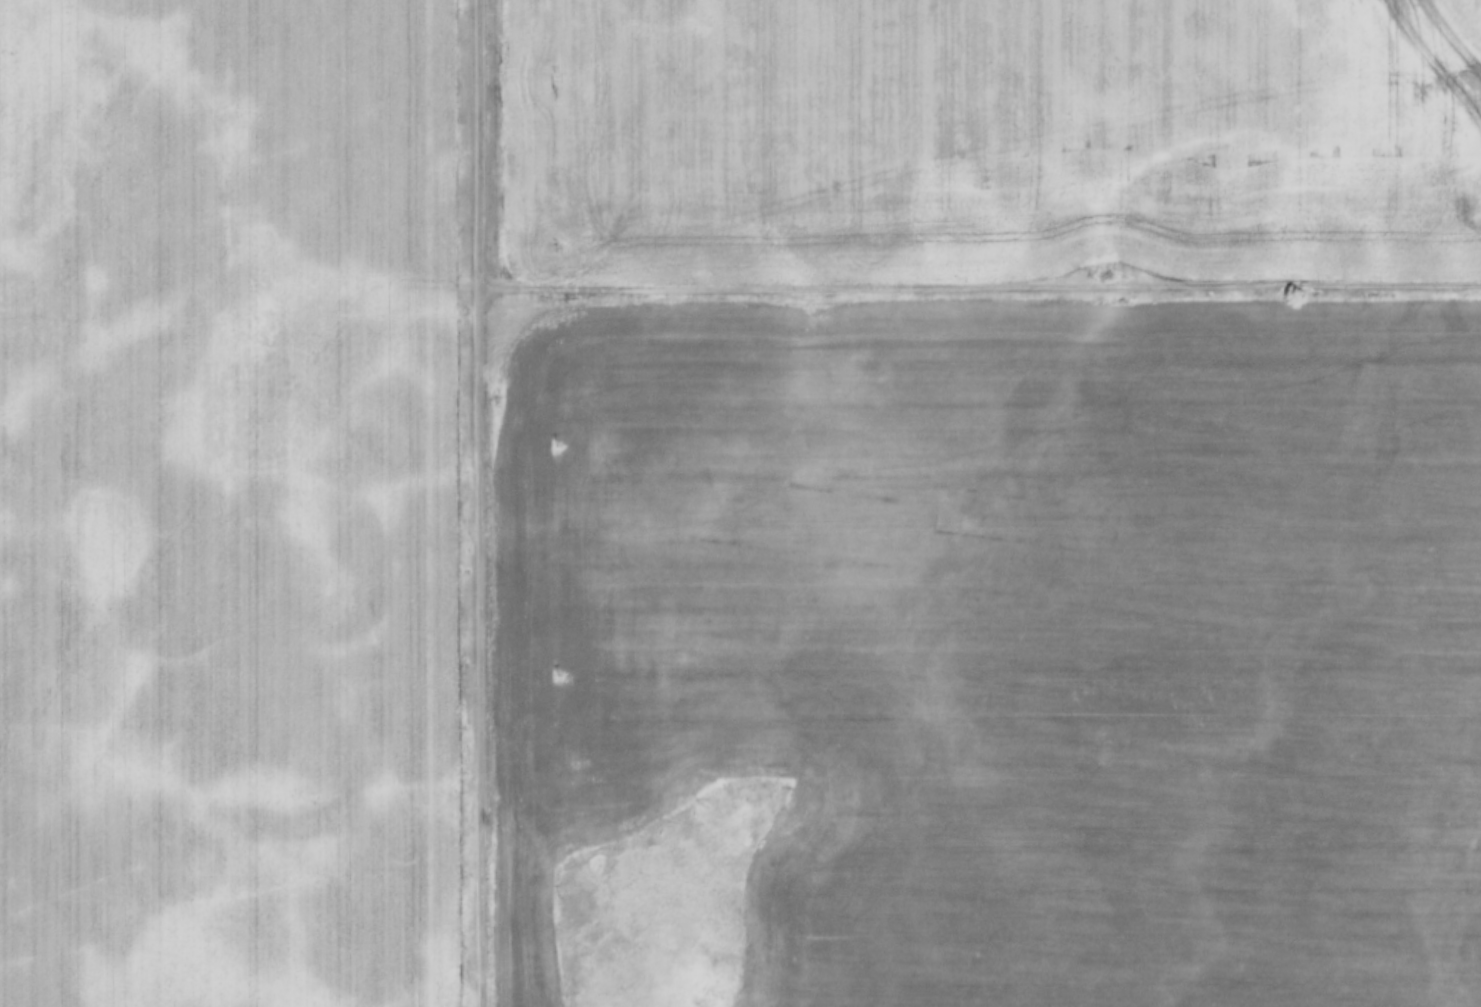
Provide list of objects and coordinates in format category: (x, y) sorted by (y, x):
road: (489, 503)

